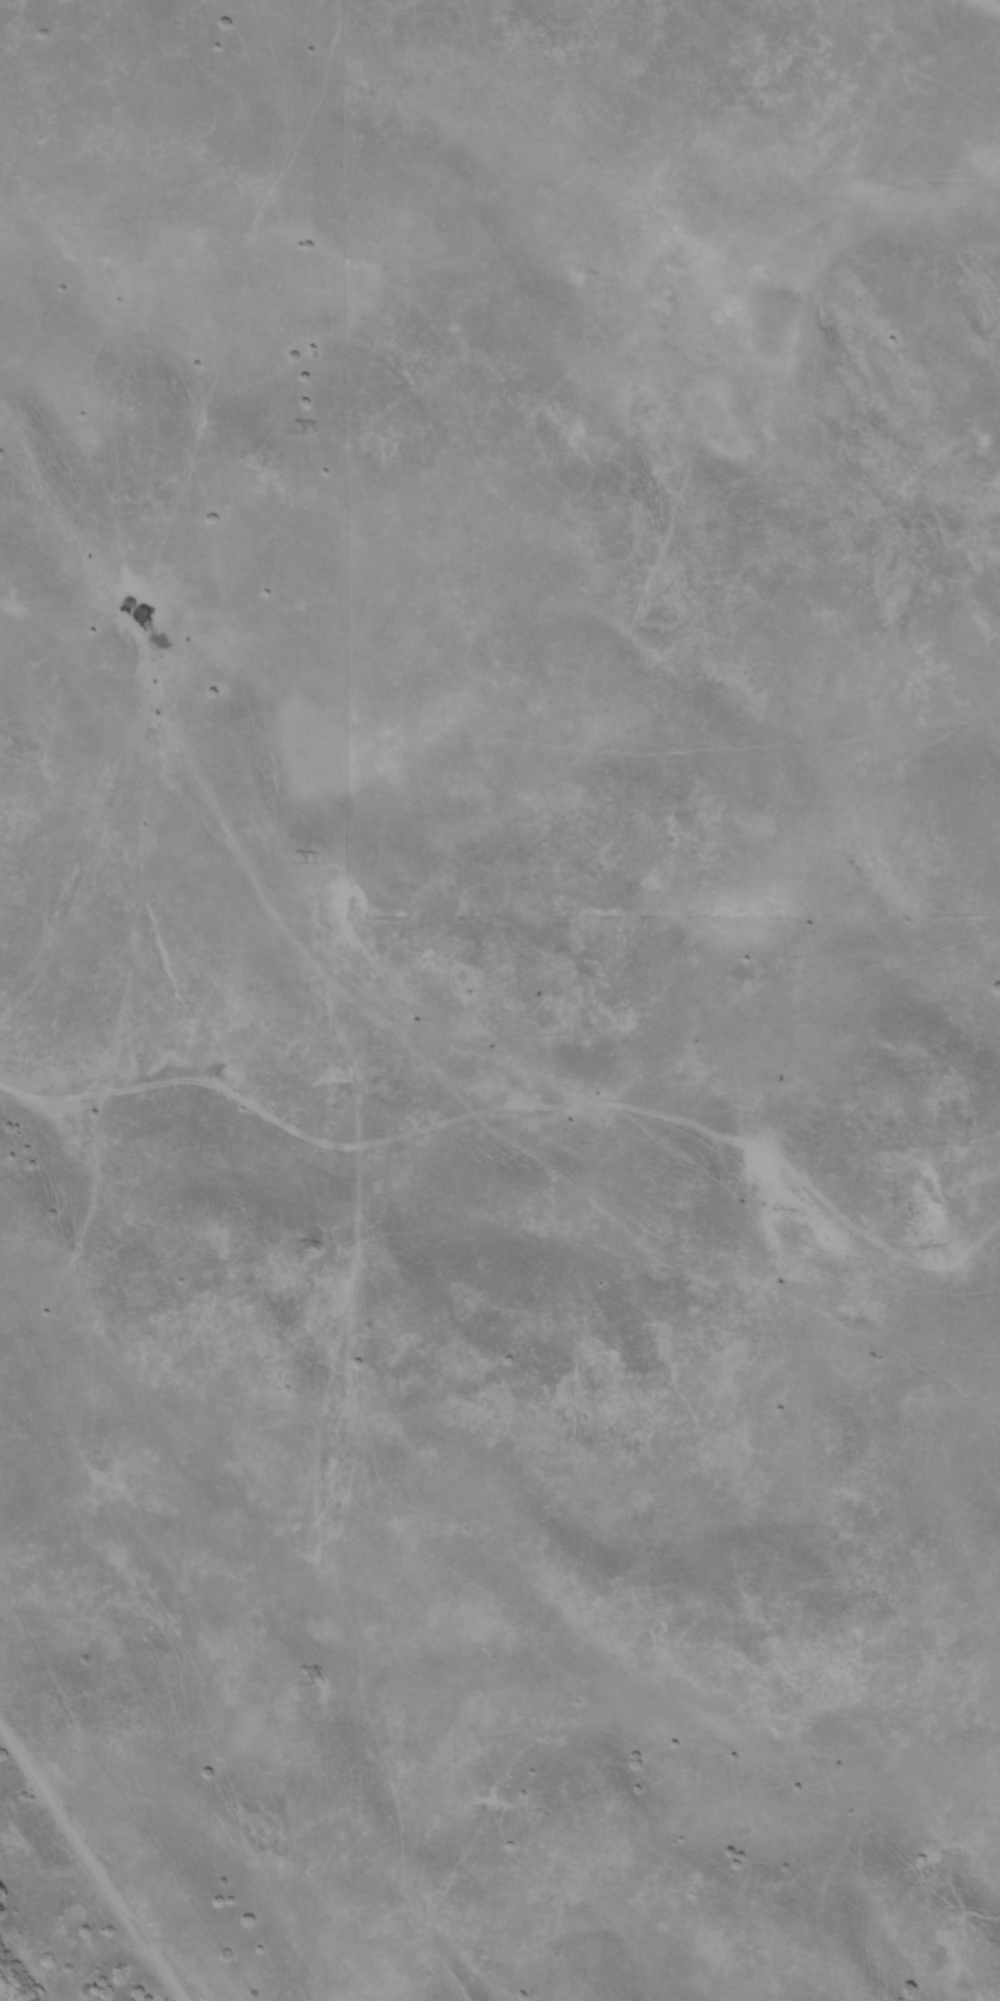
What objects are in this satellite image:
power tower: (310, 432)
power tower: (314, 862)
power tower: (317, 1252)
power tower: (320, 1683)
road: (96, 1864)

